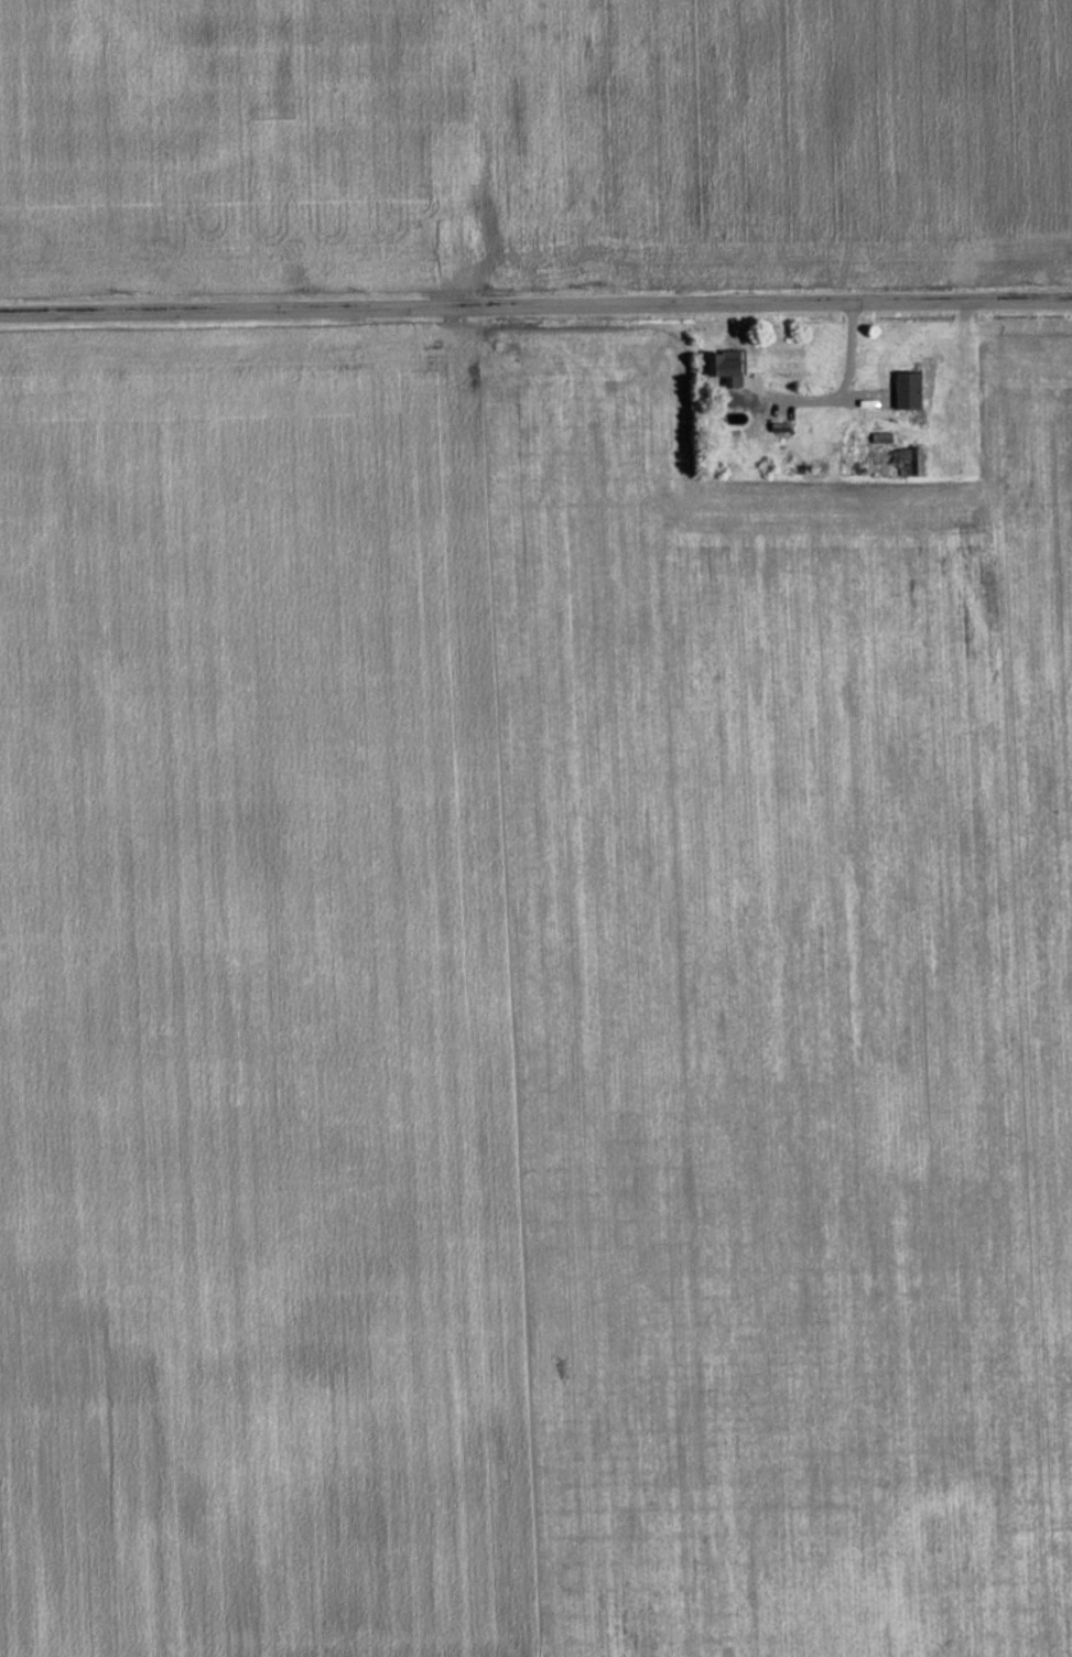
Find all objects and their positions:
crop: (531, 139)
road: (535, 300)
building: (721, 368)
building: (903, 390)
crop: (253, 1016)
crop: (786, 1024)

